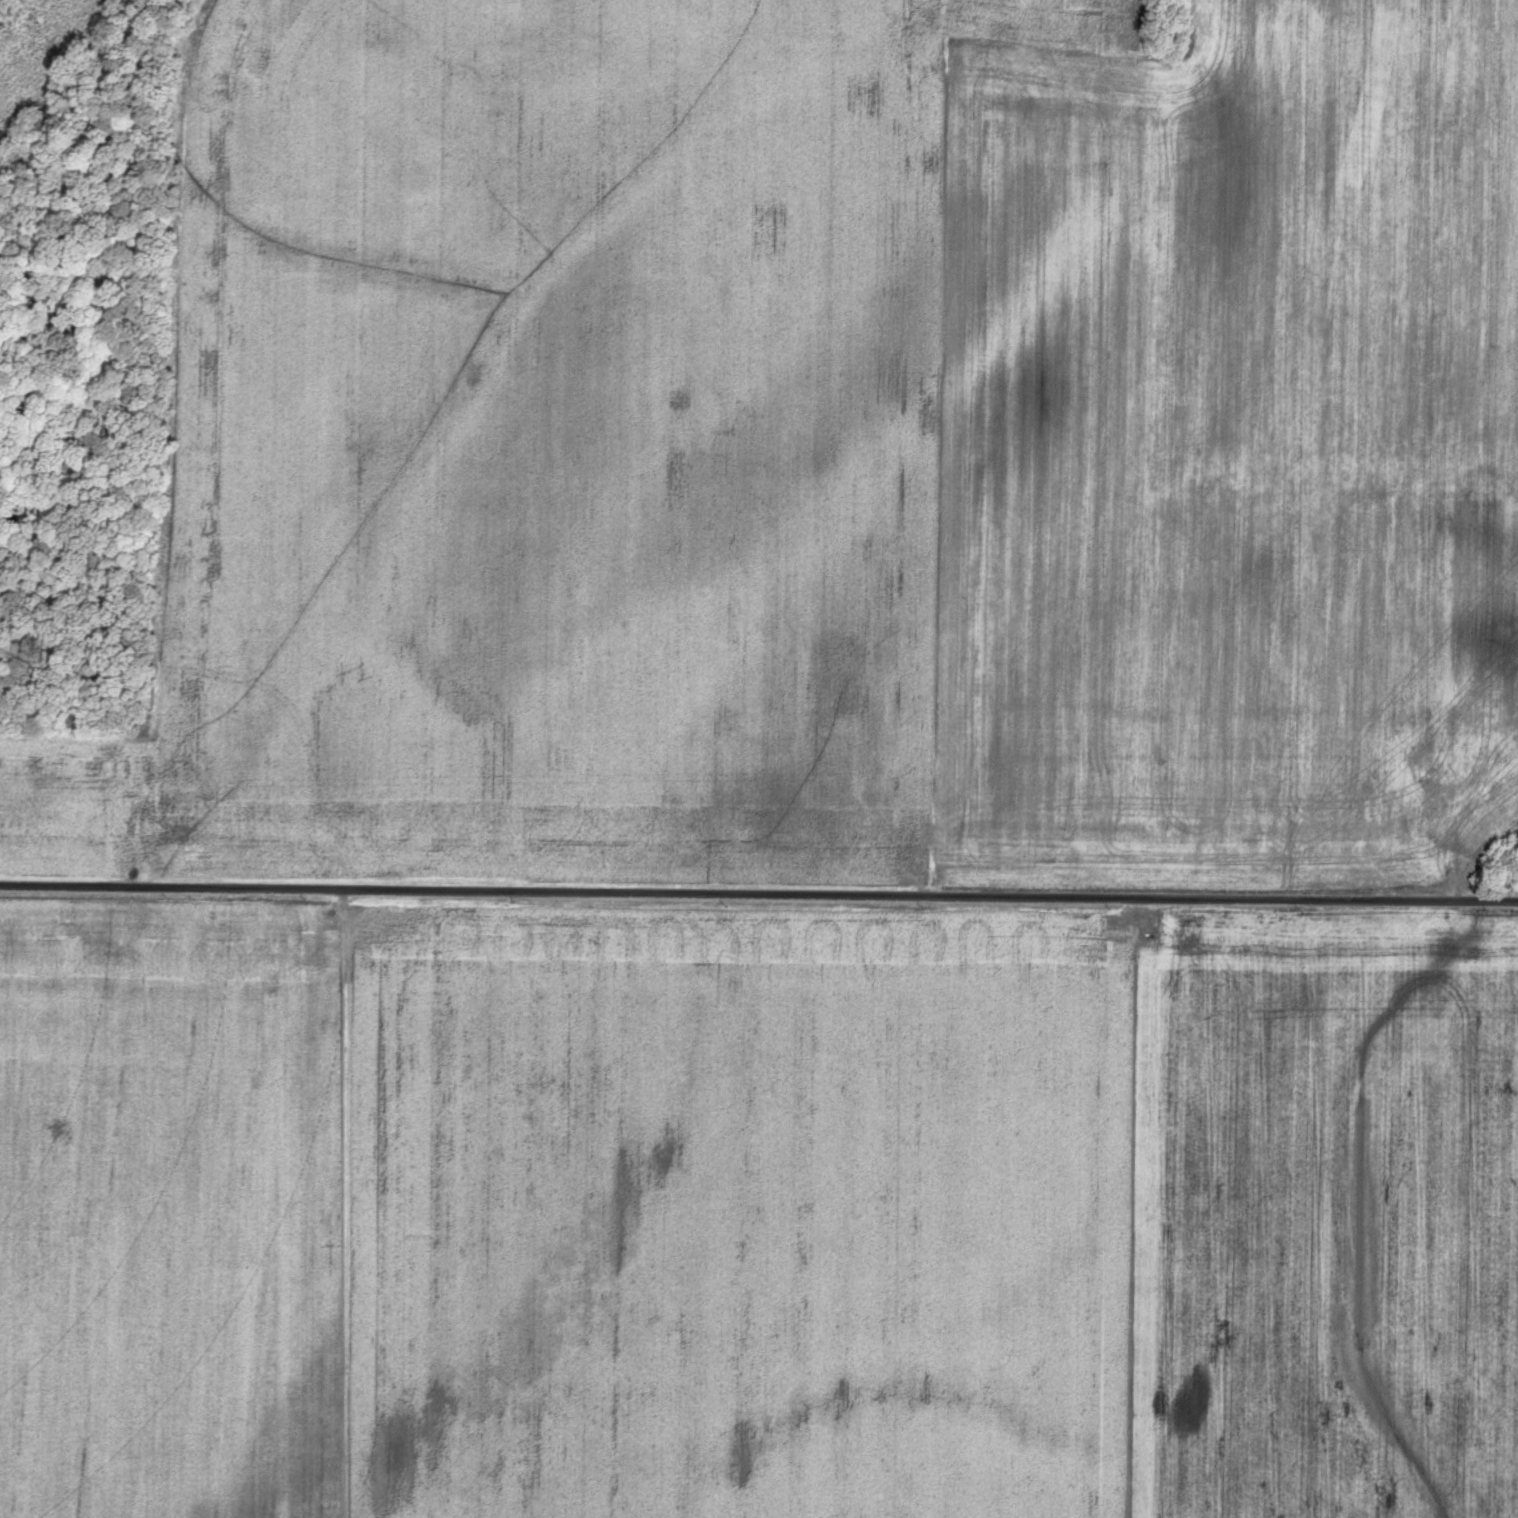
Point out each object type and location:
road: (759, 898)

